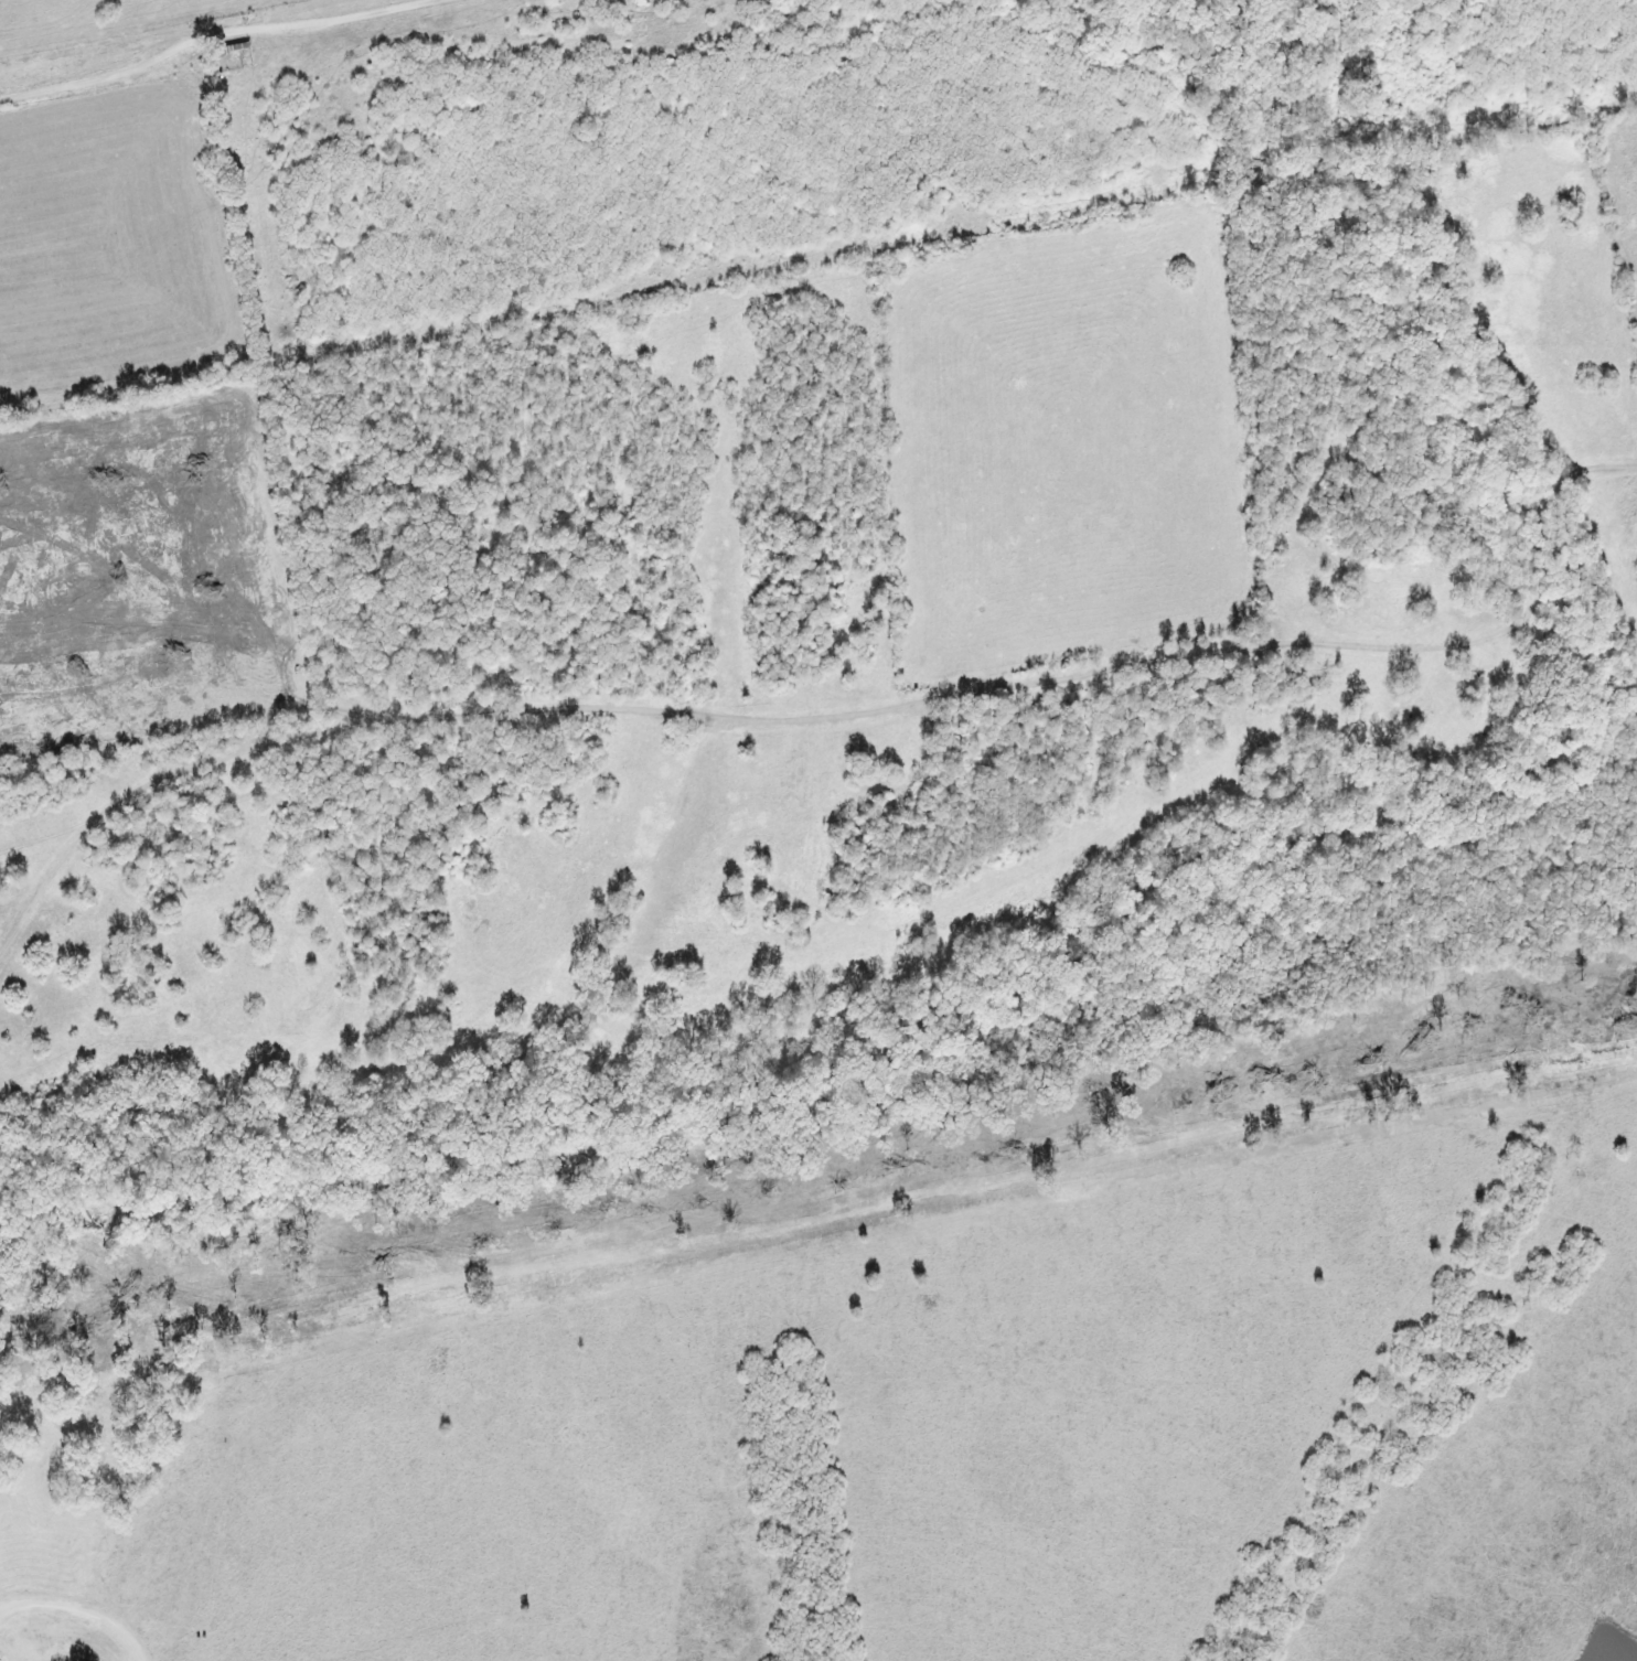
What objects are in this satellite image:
road: (79, 1619)

